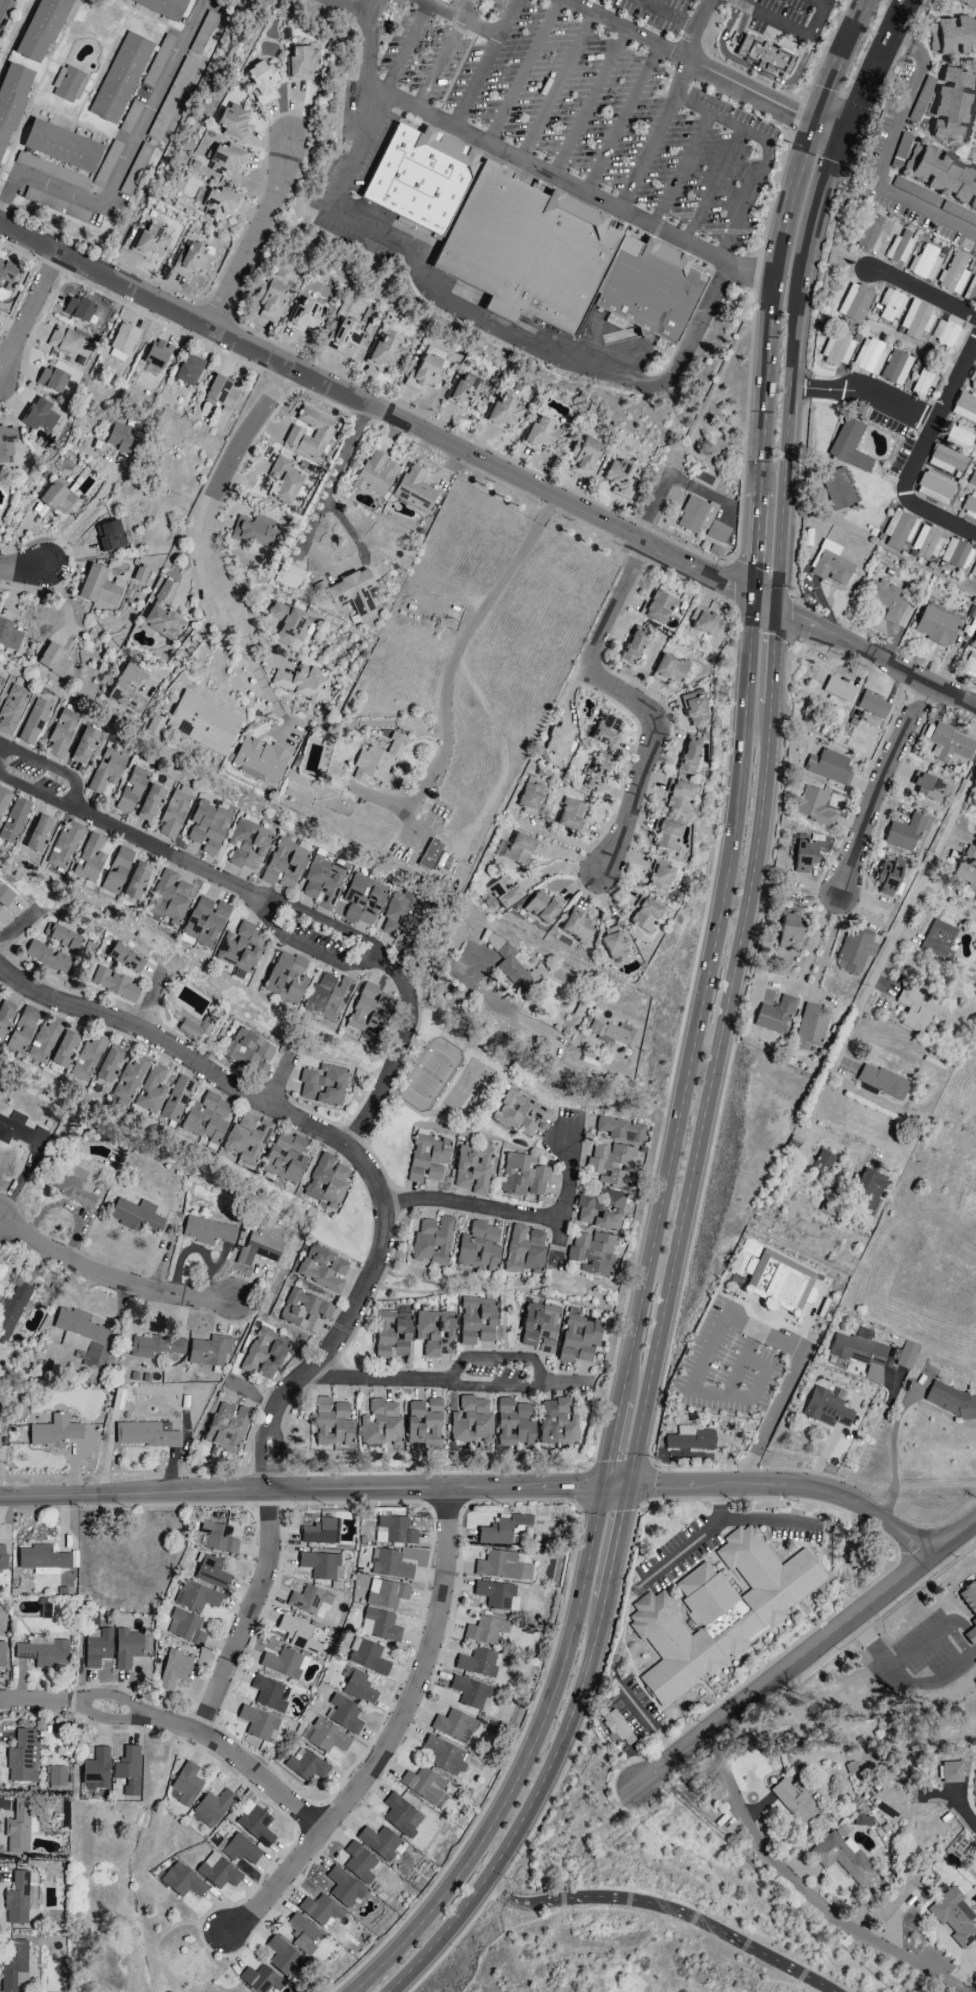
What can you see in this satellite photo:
building: (480, 1)
road: (743, 1)
building: (444, 2)
road: (505, 3)
road: (821, 3)
building: (967, 3)
road: (2, 5)
building: (164, 7)
road: (368, 8)
road: (667, 14)
road: (953, 14)
road: (775, 19)
road: (463, 20)
road: (820, 22)
road: (697, 29)
building: (42, 30)
building: (959, 36)
road: (467, 54)
building: (765, 56)
road: (955, 59)
building: (157, 61)
road: (687, 61)
road: (838, 61)
road: (484, 63)
building: (299, 64)
road: (439, 64)
road: (871, 68)
road: (751, 69)
road: (524, 72)
road: (750, 77)
building: (120, 78)
building: (260, 81)
building: (67, 84)
road: (555, 86)
building: (12, 99)
building: (171, 99)
road: (382, 99)
road: (590, 104)
building: (956, 107)
road: (150, 114)
building: (129, 117)
road: (624, 120)
building: (232, 124)
road: (828, 131)
road: (759, 139)
building: (61, 146)
road: (951, 152)
road: (889, 153)
road: (649, 154)
building: (975, 157)
building: (226, 160)
road: (523, 161)
road: (971, 162)
building: (106, 164)
building: (136, 170)
road: (682, 170)
building: (52, 171)
building: (946, 176)
building: (421, 178)
road: (41, 184)
road: (714, 185)
building: (915, 192)
building: (218, 204)
building: (56, 205)
road: (820, 205)
building: (958, 213)
building: (870, 234)
road: (254, 238)
building: (150, 242)
building: (899, 248)
building: (527, 251)
building: (191, 262)
building: (924, 264)
building: (953, 274)
building: (5, 278)
road: (770, 287)
building: (650, 289)
building: (970, 291)
road: (923, 293)
road: (755, 295)
building: (269, 300)
building: (854, 302)
building: (890, 306)
building: (78, 308)
road: (28, 314)
building: (305, 316)
building: (915, 320)
building: (945, 335)
building: (342, 336)
building: (63, 341)
building: (122, 342)
building: (836, 349)
building: (384, 353)
building: (432, 353)
road: (540, 353)
building: (157, 354)
building: (869, 357)
building: (894, 368)
building: (188, 370)
building: (423, 374)
building: (50, 379)
building: (922, 382)
building: (972, 382)
road: (713, 386)
building: (465, 391)
building: (221, 394)
road: (865, 395)
building: (964, 408)
road: (376, 412)
building: (503, 414)
building: (39, 416)
road: (938, 419)
building: (323, 433)
building: (539, 434)
building: (117, 437)
building: (957, 437)
building: (6, 441)
road: (786, 442)
building: (849, 446)
building: (583, 457)
building: (945, 460)
building: (375, 475)
road: (759, 475)
building: (620, 478)
road: (223, 479)
building: (972, 479)
building: (284, 480)
road: (334, 481)
building: (934, 487)
building: (414, 490)
building: (837, 490)
road: (698, 491)
building: (59, 497)
road: (654, 503)
building: (969, 505)
building: (695, 515)
road: (85, 516)
road: (939, 519)
building: (898, 530)
building: (254, 531)
building: (716, 532)
building: (115, 537)
building: (926, 542)
road: (755, 547)
building: (956, 555)
building: (830, 564)
road: (22, 568)
building: (973, 571)
building: (140, 574)
building: (289, 577)
building: (99, 587)
building: (167, 590)
building: (352, 592)
road: (631, 598)
building: (886, 600)
road: (763, 605)
road: (615, 606)
building: (657, 608)
road: (229, 610)
building: (164, 623)
building: (705, 623)
building: (934, 626)
building: (292, 627)
building: (9, 636)
road: (188, 642)
building: (974, 642)
road: (265, 645)
building: (632, 646)
road: (774, 658)
road: (876, 658)
building: (57, 659)
building: (970, 667)
building: (668, 669)
road: (451, 671)
building: (0, 680)
building: (306, 683)
building: (131, 687)
building: (838, 690)
building: (872, 705)
building: (11, 708)
building: (695, 709)
road: (663, 711)
building: (34, 722)
building: (204, 722)
building: (153, 725)
building: (605, 730)
building: (61, 733)
building: (557, 740)
building: (949, 744)
building: (84, 746)
road: (647, 756)
building: (688, 756)
building: (262, 759)
building: (379, 763)
building: (828, 766)
road: (48, 769)
building: (106, 771)
building: (597, 773)
road: (877, 785)
building: (929, 788)
building: (131, 790)
building: (678, 796)
building: (3, 798)
building: (530, 799)
building: (150, 803)
building: (814, 807)
building: (173, 812)
building: (571, 816)
building: (14, 820)
building: (208, 827)
building: (39, 834)
building: (903, 834)
building: (666, 835)
building: (248, 845)
building: (64, 846)
building: (520, 848)
building: (970, 854)
building: (429, 855)
building: (804, 856)
building: (89, 859)
building: (284, 864)
road: (566, 868)
building: (117, 871)
building: (966, 875)
building: (886, 878)
building: (659, 879)
building: (136, 881)
building: (323, 883)
building: (505, 892)
building: (5, 897)
building: (168, 897)
road: (913, 897)
building: (363, 900)
building: (542, 907)
road: (283, 911)
building: (645, 915)
building: (399, 916)
building: (204, 922)
road: (18, 926)
building: (577, 927)
building: (789, 930)
building: (63, 938)
building: (938, 940)
road: (820, 942)
building: (614, 946)
building: (240, 947)
building: (856, 948)
building: (49, 959)
building: (125, 959)
building: (508, 964)
building: (851, 970)
building: (286, 978)
building: (113, 984)
road: (151, 996)
building: (329, 996)
road: (486, 998)
road: (700, 1001)
building: (366, 1010)
building: (914, 1011)
building: (773, 1015)
building: (4, 1019)
building: (810, 1027)
building: (195, 1028)
building: (22, 1030)
building: (613, 1034)
building: (770, 1038)
building: (45, 1040)
building: (63, 1049)
building: (248, 1053)
building: (88, 1058)
building: (108, 1065)
building: (128, 1082)
building: (882, 1082)
road: (281, 1084)
building: (323, 1085)
building: (152, 1090)
road: (709, 1098)
building: (176, 1099)
road: (813, 1109)
building: (519, 1114)
building: (207, 1119)
building: (621, 1130)
building: (20, 1131)
building: (246, 1140)
road: (345, 1146)
building: (285, 1158)
building: (427, 1158)
building: (821, 1163)
building: (611, 1164)
building: (472, 1169)
road: (571, 1170)
building: (522, 1177)
building: (327, 1181)
building: (73, 1187)
building: (867, 1190)
road: (473, 1207)
building: (599, 1210)
building: (833, 1211)
building: (135, 1216)
building: (207, 1231)
road: (561, 1235)
building: (432, 1240)
building: (479, 1247)
building: (258, 1249)
building: (524, 1251)
building: (592, 1252)
building: (322, 1269)
road: (109, 1280)
building: (780, 1280)
building: (11, 1312)
building: (304, 1312)
road: (740, 1317)
building: (476, 1322)
building: (540, 1327)
building: (392, 1333)
building: (435, 1333)
building: (79, 1334)
building: (578, 1338)
building: (155, 1347)
building: (208, 1351)
building: (860, 1352)
building: (264, 1354)
building: (904, 1355)
road: (498, 1358)
road: (438, 1383)
building: (117, 1399)
building: (952, 1402)
building: (825, 1409)
building: (470, 1421)
building: (332, 1422)
building: (514, 1423)
building: (423, 1424)
building: (556, 1424)
building: (380, 1425)
building: (226, 1427)
building: (53, 1432)
building: (147, 1435)
building: (690, 1439)
road: (613, 1444)
road: (892, 1446)
road: (614, 1489)
road: (300, 1490)
road: (788, 1490)
road: (920, 1490)
road: (768, 1523)
building: (503, 1530)
building: (393, 1531)
building: (320, 1532)
building: (218, 1538)
road: (693, 1541)
road: (614, 1544)
building: (2, 1558)
building: (42, 1560)
building: (321, 1565)
building: (389, 1565)
building: (502, 1567)
building: (210, 1573)
building: (385, 1594)
building: (496, 1596)
building: (196, 1597)
building: (309, 1602)
building: (969, 1609)
building: (717, 1612)
road: (251, 1615)
building: (379, 1626)
building: (185, 1628)
building: (485, 1630)
building: (298, 1635)
building: (126, 1648)
building: (43, 1652)
building: (1, 1654)
road: (808, 1656)
building: (367, 1657)
building: (282, 1663)
building: (477, 1663)
building: (173, 1670)
building: (357, 1686)
building: (470, 1693)
building: (268, 1694)
building: (343, 1714)
building: (259, 1724)
road: (177, 1726)
building: (454, 1726)
building: (613, 1726)
road: (391, 1736)
building: (324, 1737)
building: (444, 1756)
building: (22, 1758)
road: (525, 1763)
building: (305, 1765)
building: (96, 1769)
building: (128, 1771)
building: (950, 1773)
building: (57, 1778)
building: (186, 1784)
building: (424, 1787)
building: (796, 1802)
building: (212, 1808)
road: (525, 1812)
road: (963, 1813)
building: (401, 1816)
building: (862, 1821)
building: (254, 1824)
building: (17, 1829)
building: (379, 1842)
building: (238, 1850)
building: (843, 1858)
building: (358, 1863)
building: (217, 1872)
building: (182, 1882)
building: (343, 1888)
road: (805, 1893)
building: (20, 1897)
road: (665, 1906)
building: (320, 1911)
building: (953, 1917)
building: (303, 1934)
building: (283, 1957)
building: (14, 1966)
building: (261, 1980)

